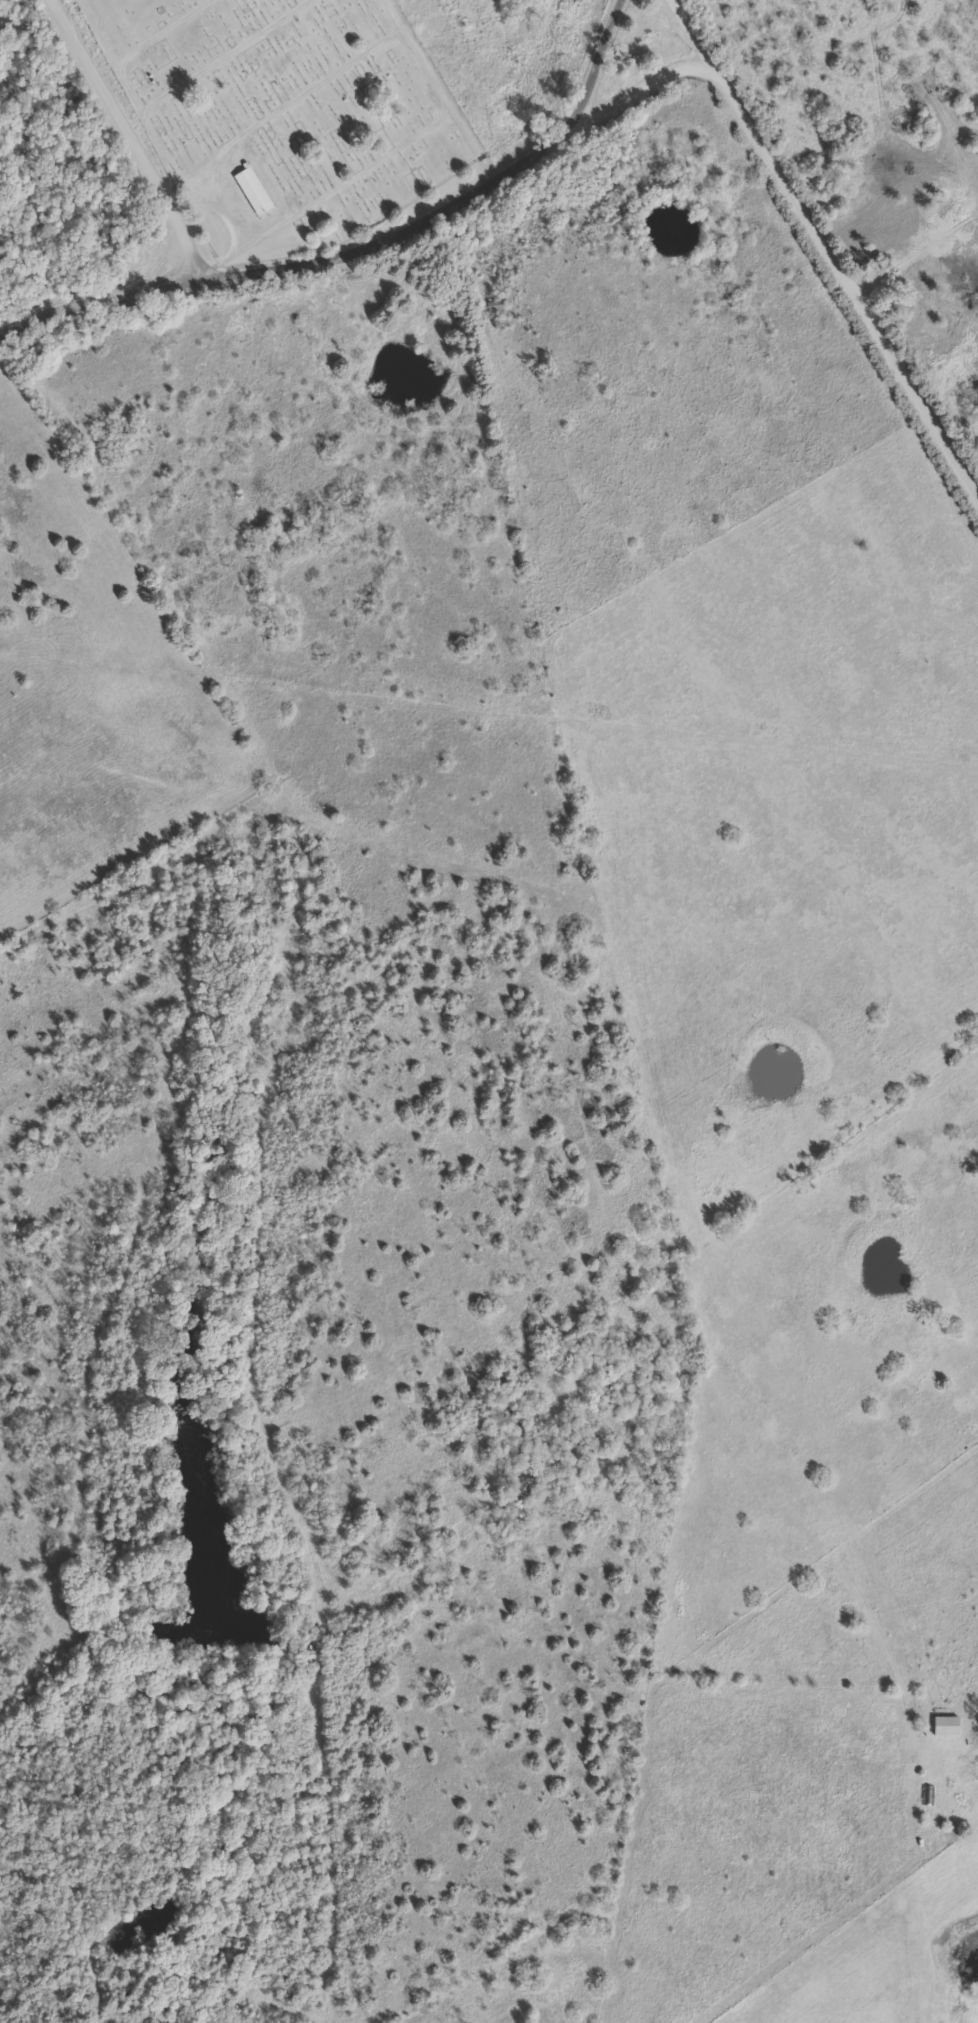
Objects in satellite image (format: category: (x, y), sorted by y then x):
road: (613, 21)
road: (415, 50)
road: (586, 90)
road: (638, 90)
road: (286, 98)
park: (291, 109)
road: (129, 137)
road: (469, 144)
building: (255, 191)
road: (209, 196)
road: (393, 238)
road: (828, 245)
road: (226, 262)
road: (97, 294)
building: (496, 305)
building: (947, 1726)

